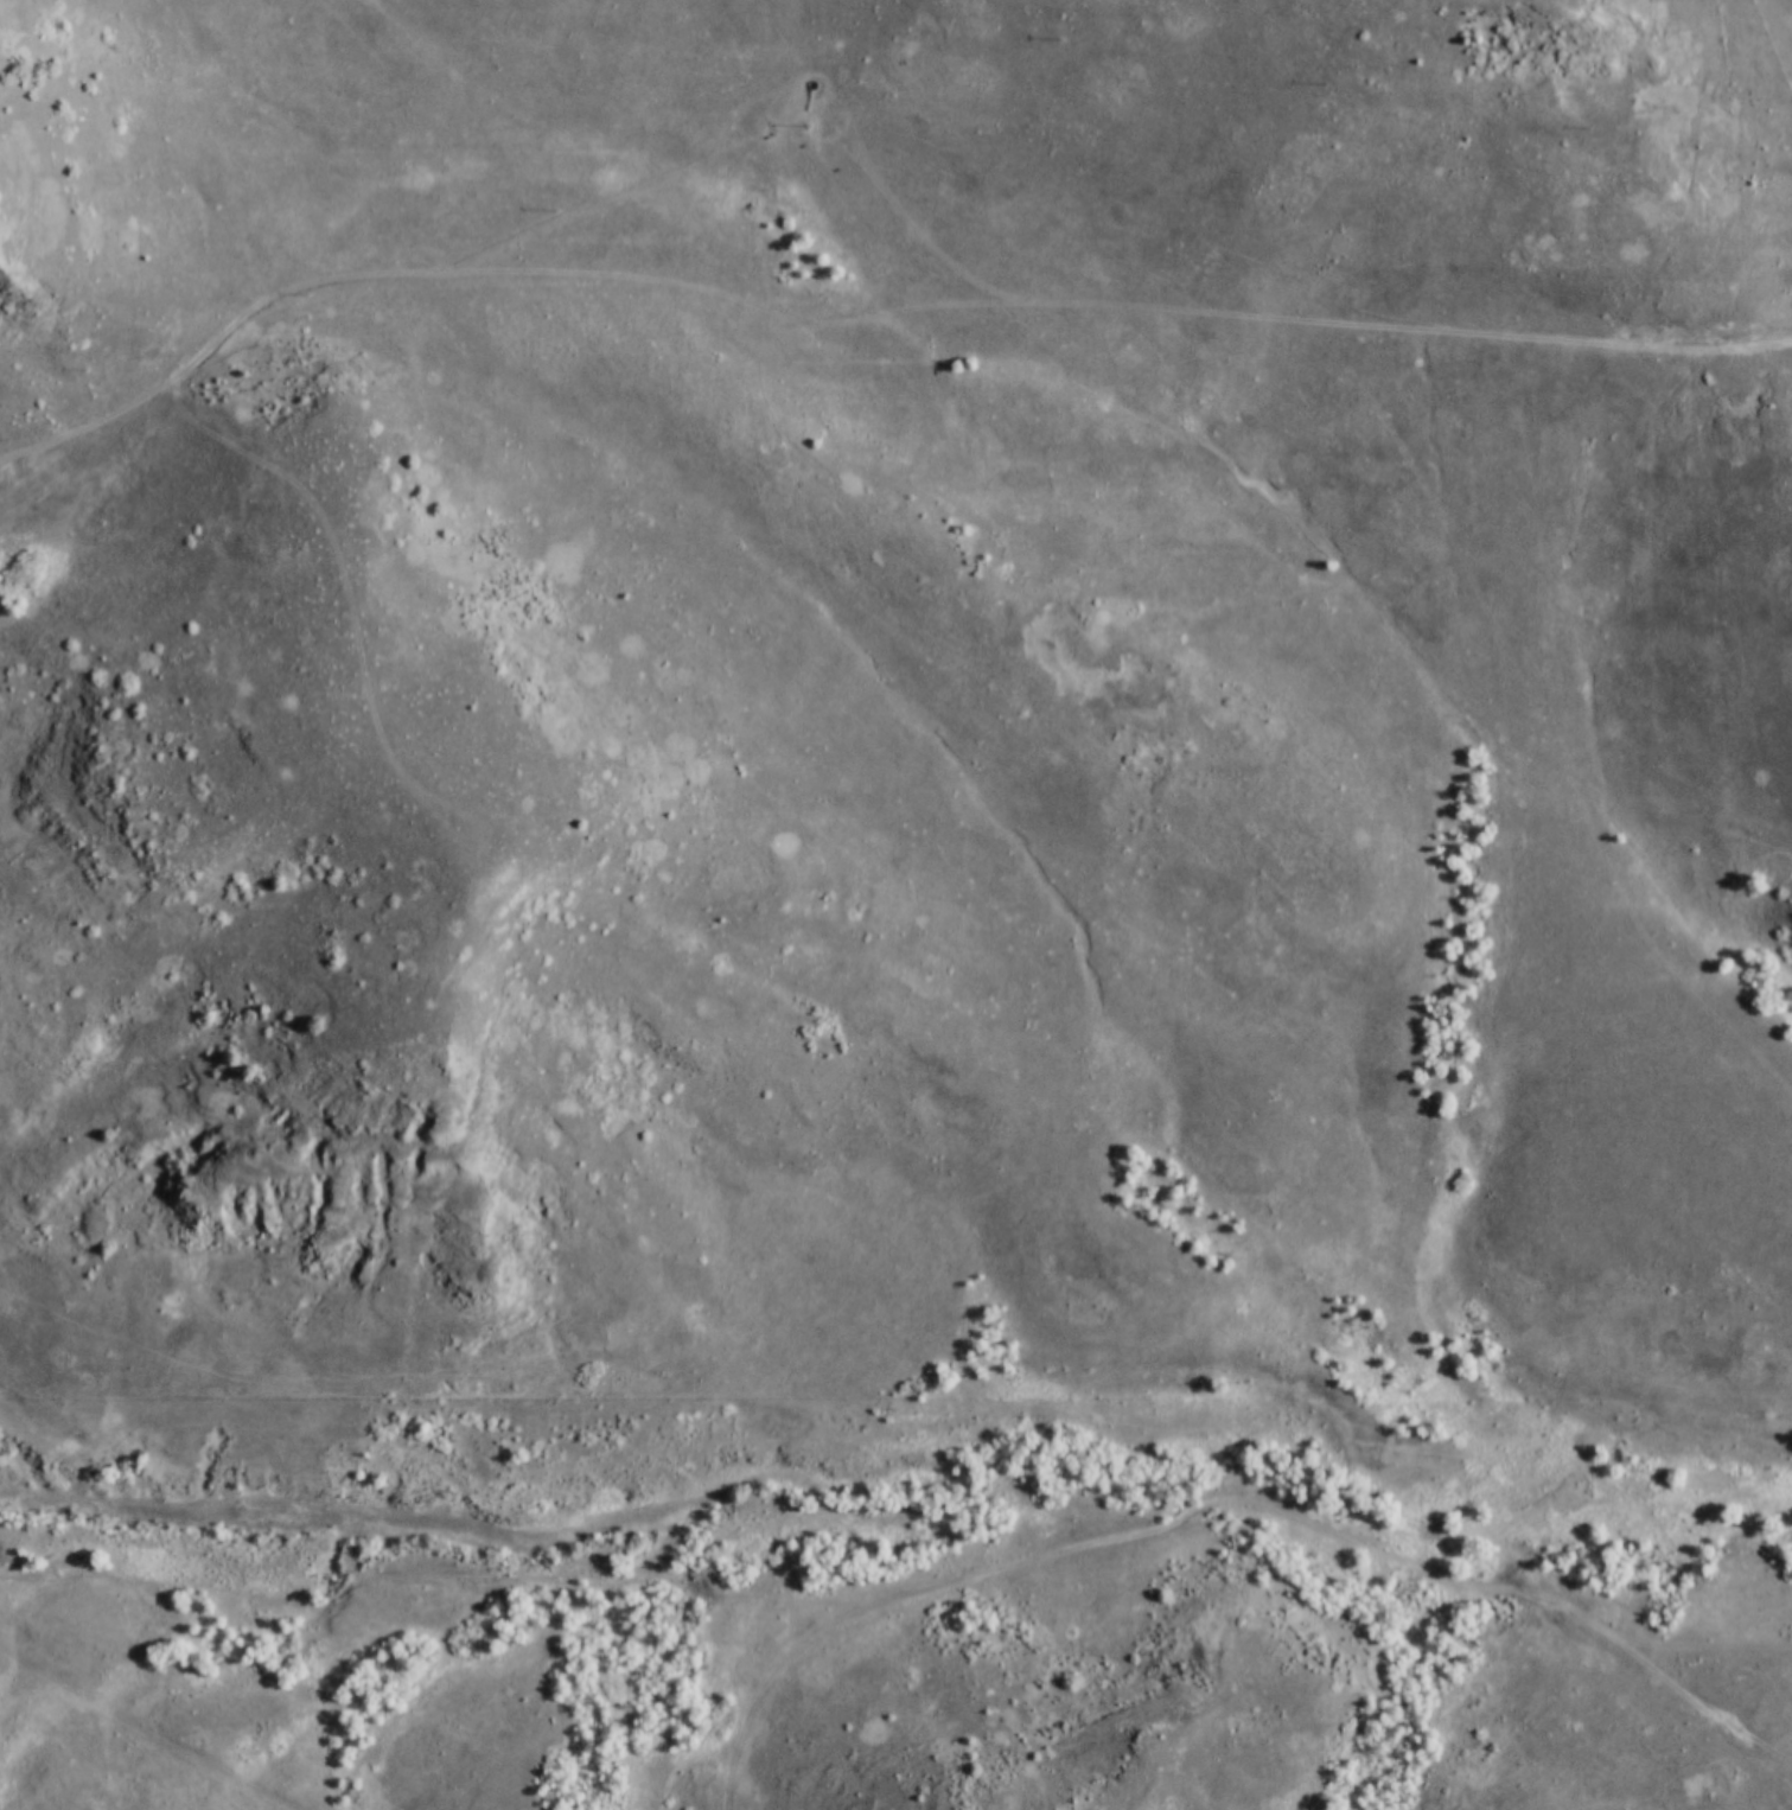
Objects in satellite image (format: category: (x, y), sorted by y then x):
road: (869, 305)

